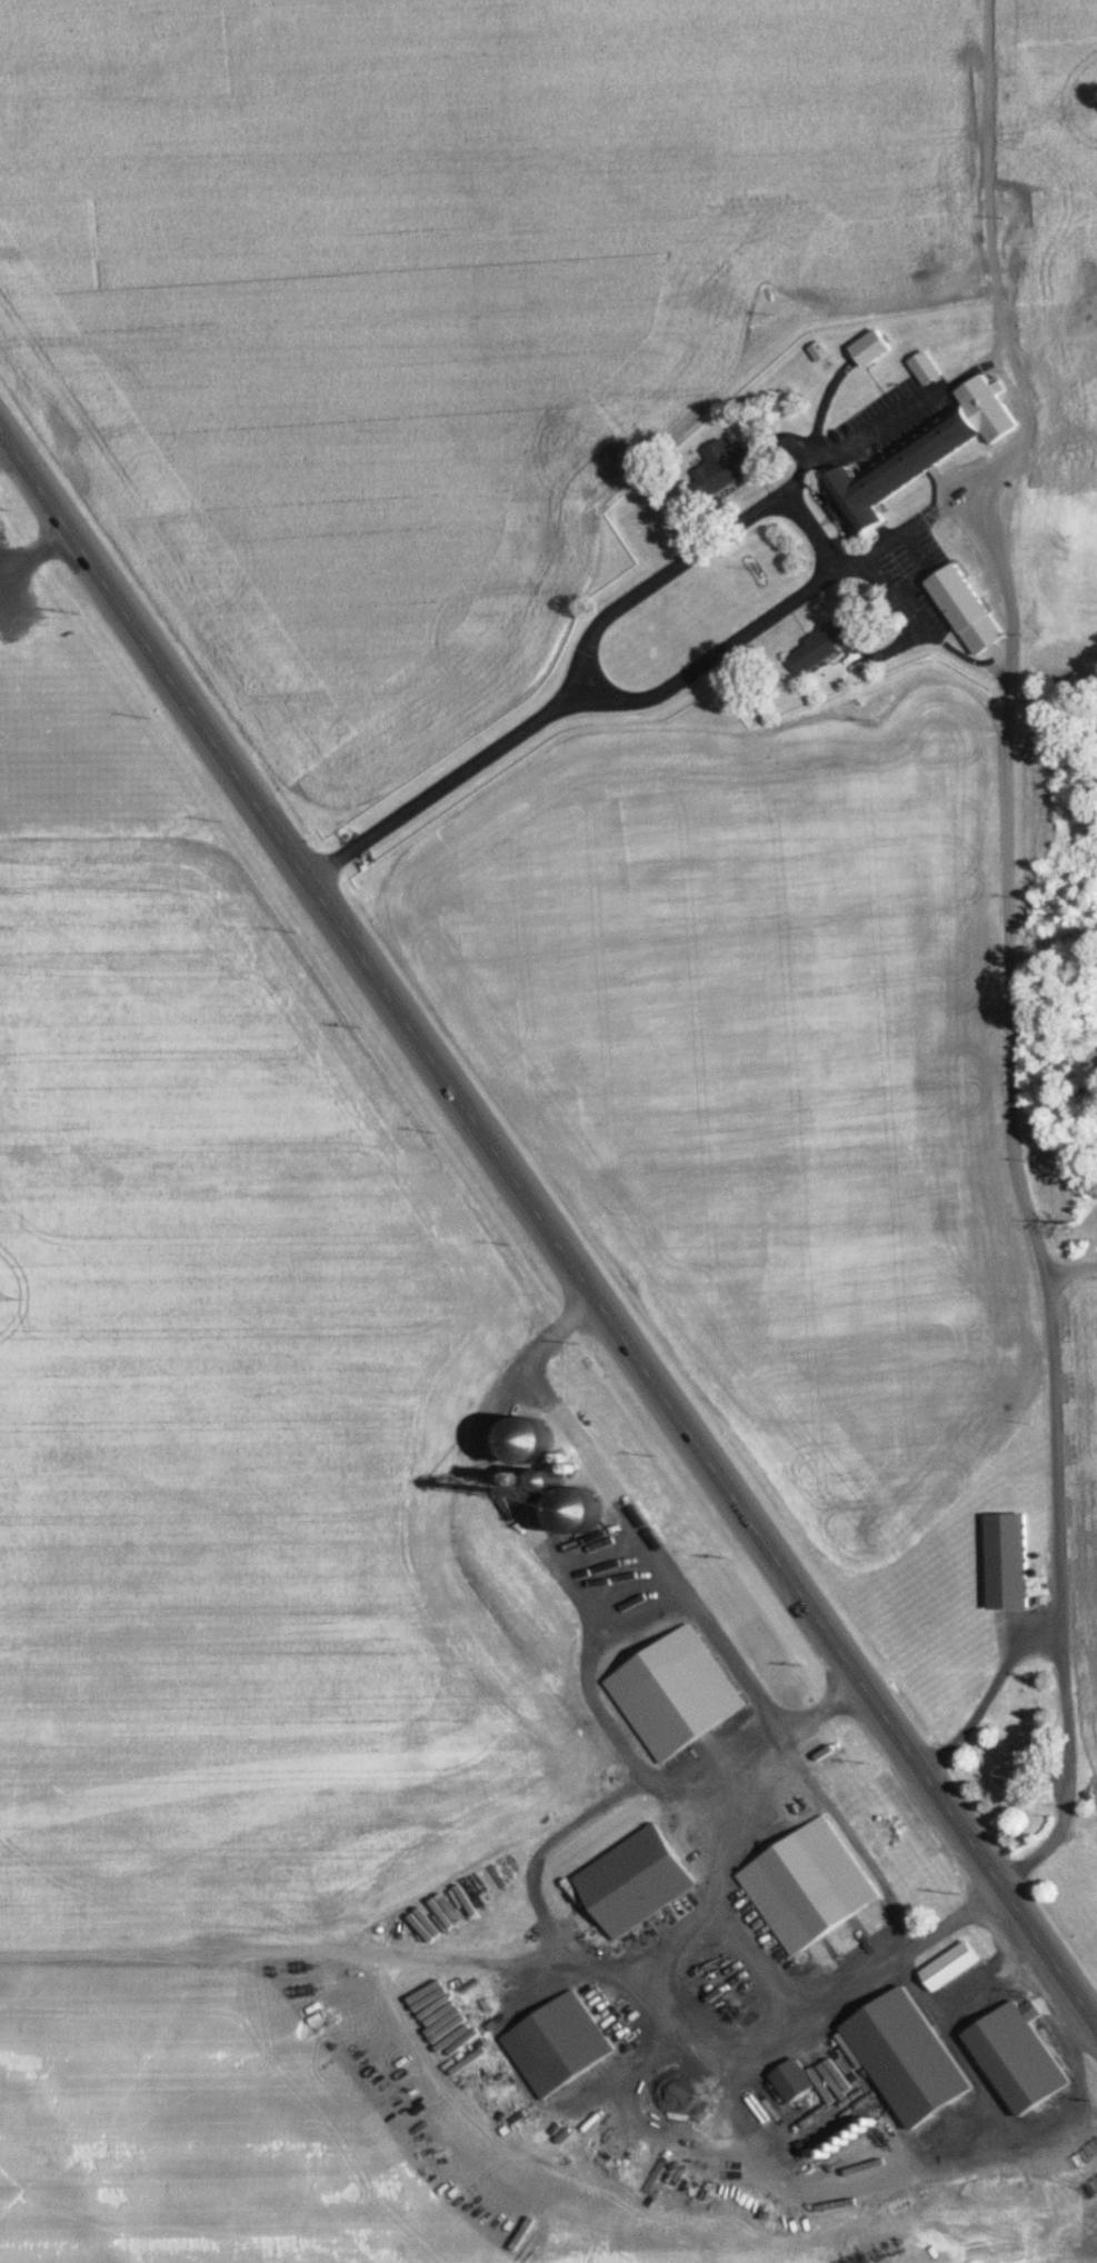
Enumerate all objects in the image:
building: (869, 348)
building: (925, 367)
road: (859, 439)
building: (925, 449)
building: (721, 468)
road: (887, 539)
road: (919, 545)
road: (829, 557)
building: (964, 607)
road: (923, 625)
building: (817, 647)
road: (446, 784)
building: (945, 1058)
road: (1024, 1190)
road: (547, 1224)
road: (652, 1541)
building: (1006, 1559)
road: (989, 1693)
building: (620, 1696)
building: (1008, 1775)
building: (634, 1882)
building: (807, 1885)
road: (764, 1963)
building: (948, 1965)
building: (557, 2043)
building: (905, 2056)
building: (1016, 2056)
building: (791, 2080)
road: (882, 2164)

